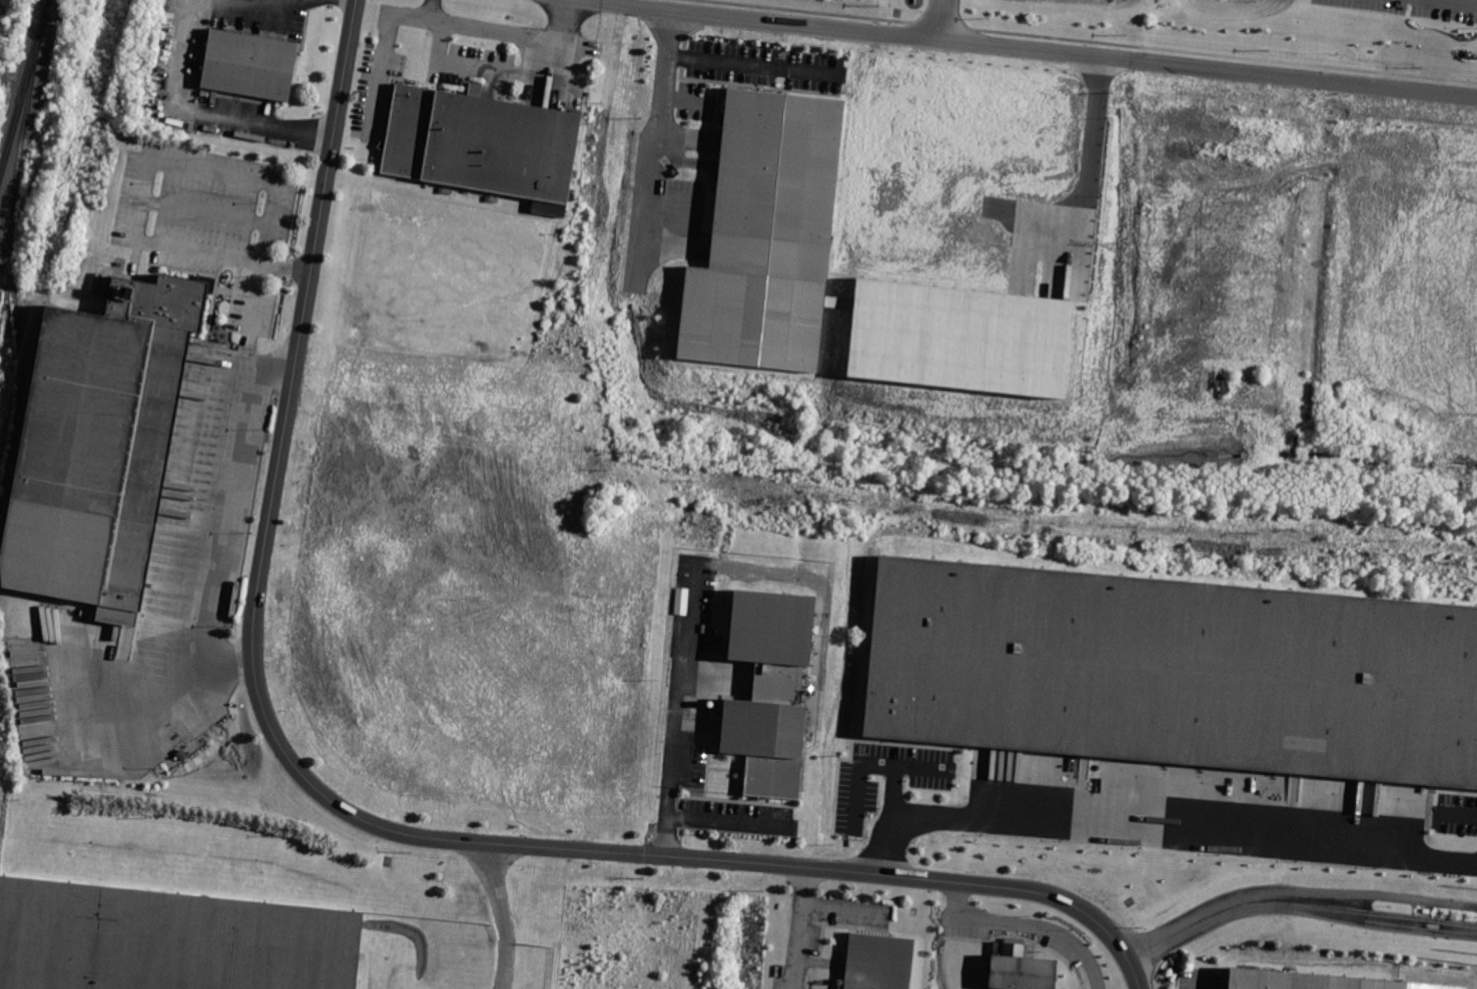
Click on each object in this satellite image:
road: (1462, 1)
road: (429, 10)
road: (943, 21)
road: (444, 23)
road: (1031, 51)
road: (753, 64)
building: (250, 65)
railway: (25, 90)
road: (203, 110)
road: (653, 140)
building: (481, 145)
railway: (19, 158)
road: (1086, 185)
road: (143, 187)
building: (765, 233)
road: (253, 297)
building: (957, 337)
railway: (21, 356)
building: (100, 443)
road: (212, 513)
building: (1175, 673)
road: (680, 689)
building: (775, 690)
road: (874, 763)
road: (921, 766)
road: (343, 810)
road: (706, 818)
road: (1155, 833)
road: (496, 891)
road: (1295, 899)
road: (843, 907)
road: (1035, 924)
road: (801, 930)
building: (167, 942)
building: (883, 962)
road: (505, 964)
building: (1019, 967)
road: (1198, 979)
building: (1316, 981)

